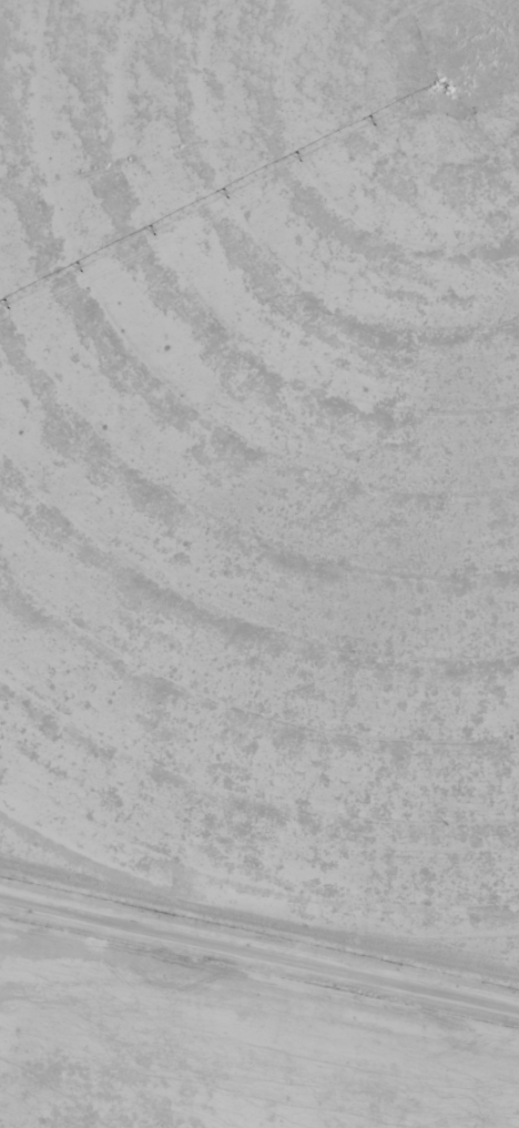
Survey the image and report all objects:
road: (259, 916)

